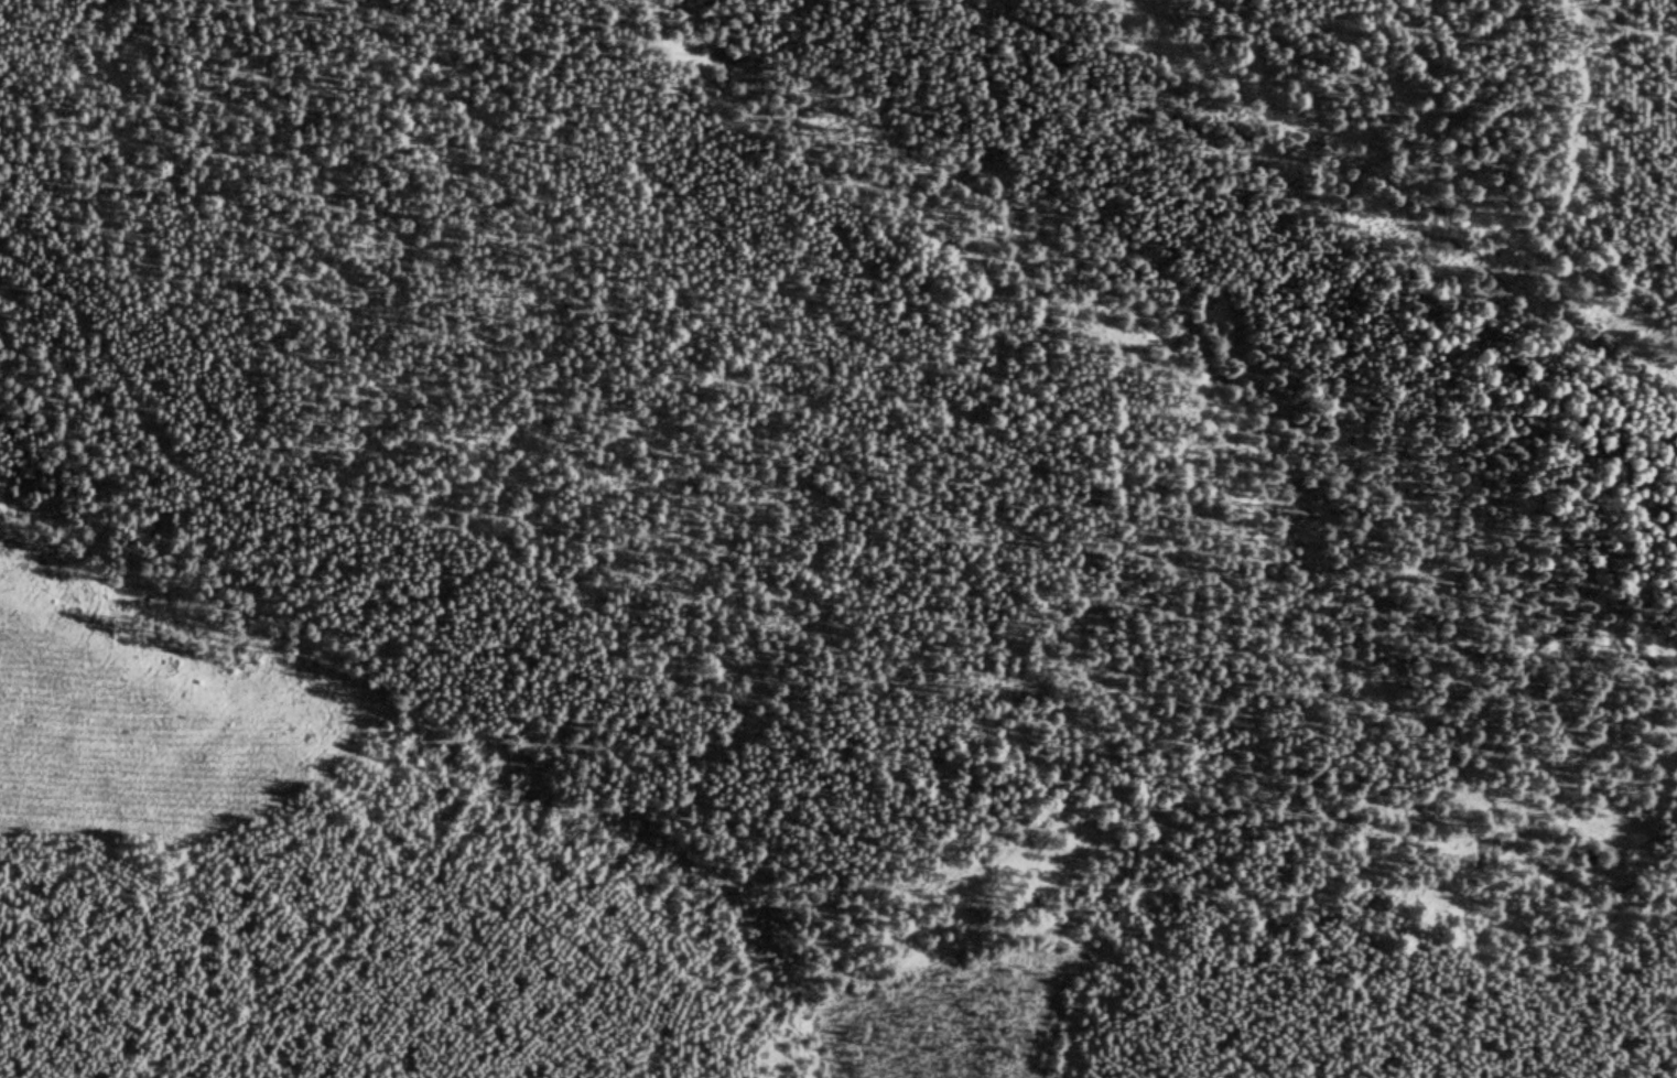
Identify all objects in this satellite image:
road: (213, 1039)

